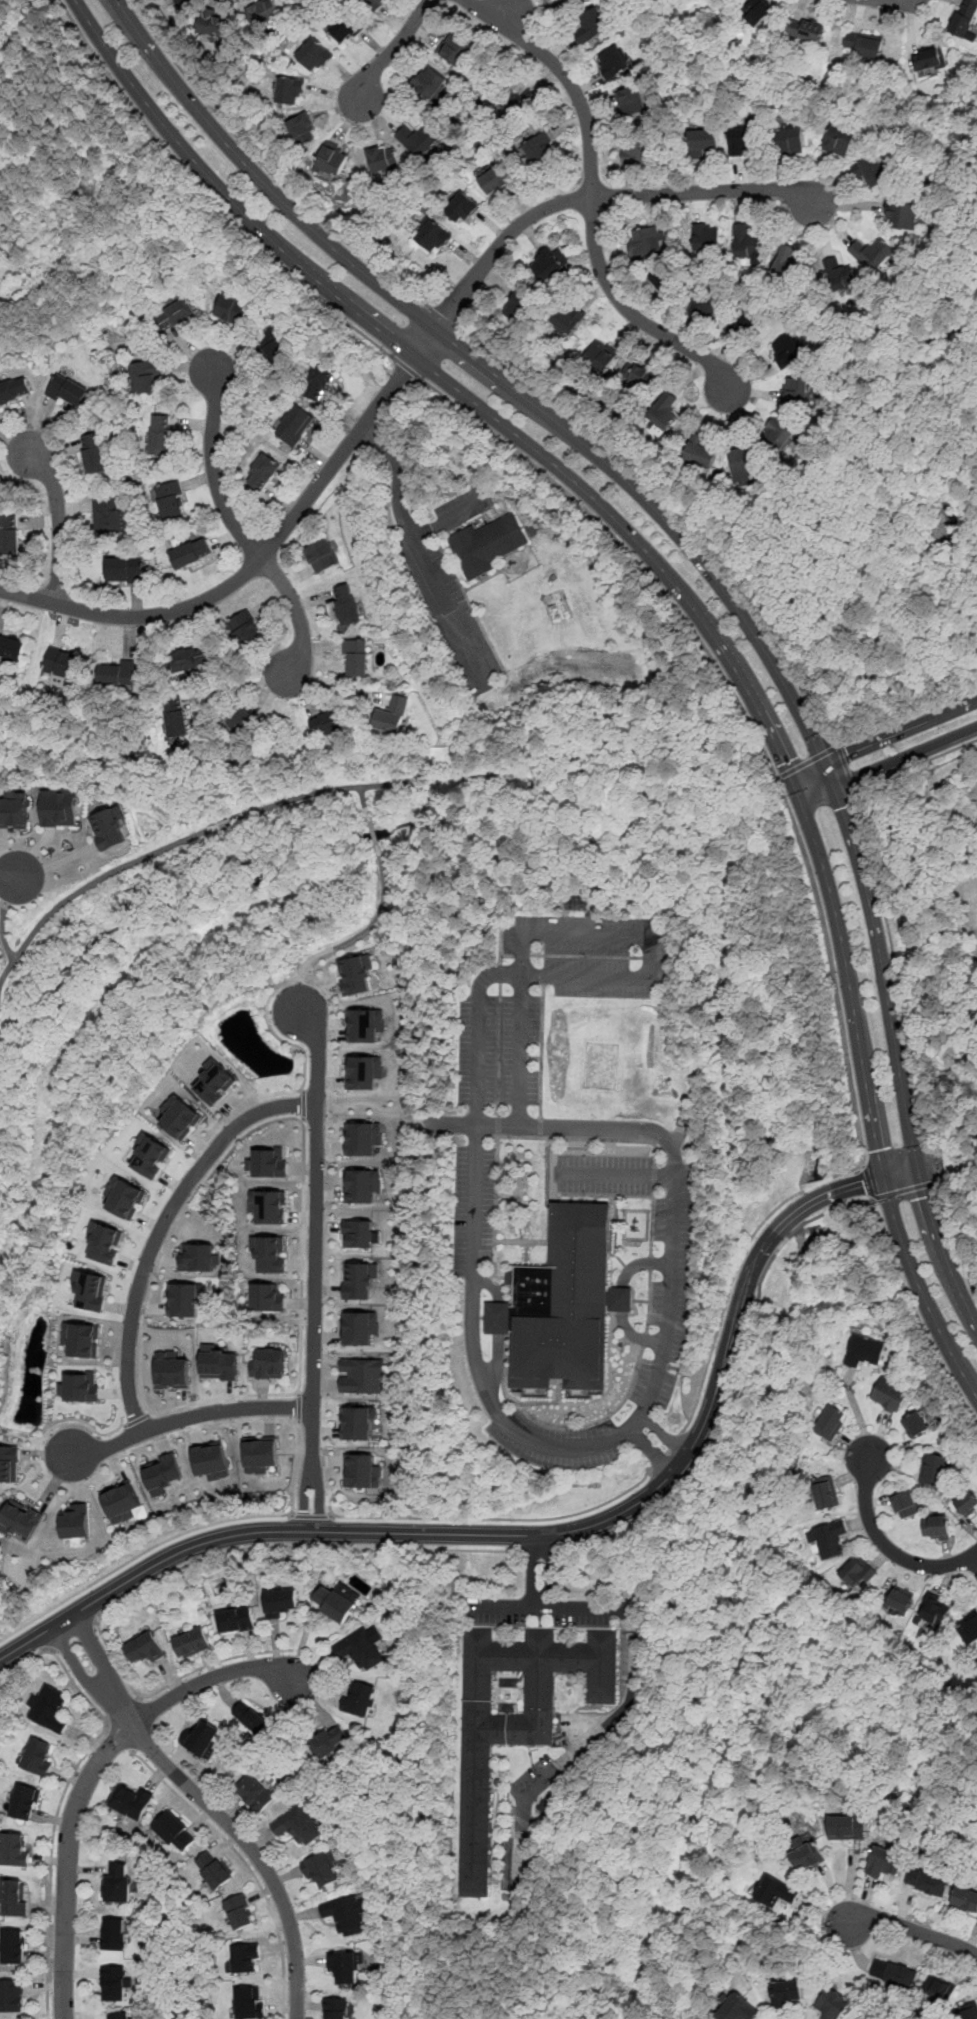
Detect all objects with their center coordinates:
building: (566, 0)
building: (184, 2)
building: (372, 4)
building: (757, 10)
building: (263, 13)
building: (964, 18)
building: (591, 25)
building: (219, 27)
building: (345, 27)
building: (805, 31)
building: (864, 46)
building: (455, 49)
road: (390, 51)
building: (313, 55)
building: (926, 60)
building: (613, 61)
building: (429, 82)
building: (290, 91)
building: (631, 100)
building: (516, 102)
building: (301, 129)
building: (417, 139)
building: (743, 139)
building: (704, 140)
building: (790, 140)
building: (838, 140)
building: (539, 150)
building: (636, 153)
building: (382, 157)
building: (331, 159)
road: (263, 165)
building: (869, 168)
building: (495, 181)
road: (208, 195)
road: (594, 197)
road: (593, 200)
building: (462, 207)
building: (901, 214)
building: (706, 236)
building: (431, 237)
building: (646, 240)
building: (746, 243)
building: (871, 253)
building: (787, 263)
building: (550, 264)
building: (838, 273)
building: (665, 280)
building: (706, 303)
building: (232, 308)
building: (518, 308)
building: (176, 315)
road: (443, 317)
building: (747, 318)
building: (569, 319)
building: (272, 346)
building: (786, 350)
building: (600, 358)
road: (406, 367)
building: (145, 376)
building: (641, 376)
building: (320, 377)
building: (13, 390)
building: (794, 390)
building: (67, 391)
building: (679, 407)
building: (663, 412)
building: (294, 424)
building: (160, 433)
building: (781, 437)
building: (93, 453)
building: (700, 453)
building: (743, 463)
building: (264, 471)
road: (399, 474)
building: (171, 500)
road: (676, 513)
building: (107, 515)
road: (59, 522)
road: (238, 532)
building: (9, 536)
building: (487, 544)
building: (191, 552)
building: (322, 554)
road: (258, 561)
road: (704, 564)
building: (124, 568)
road: (429, 572)
park: (911, 591)
road: (685, 594)
building: (346, 604)
building: (243, 628)
building: (12, 648)
building: (355, 656)
building: (191, 657)
building: (61, 663)
building: (117, 674)
road: (239, 687)
road: (744, 712)
building: (391, 714)
building: (175, 717)
building: (238, 722)
building: (327, 722)
road: (885, 738)
traffic signals: (849, 754)
traffic signals: (787, 761)
road: (808, 762)
road: (889, 762)
road: (848, 771)
road: (365, 803)
building: (58, 806)
traffic signals: (842, 807)
building: (14, 810)
building: (107, 827)
road: (374, 832)
road: (183, 840)
road: (12, 874)
building: (577, 903)
road: (884, 905)
road: (2, 906)
road: (365, 929)
road: (1, 932)
park: (793, 963)
building: (357, 974)
road: (298, 991)
road: (478, 1001)
building: (366, 1024)
road: (276, 1034)
building: (365, 1071)
building: (216, 1081)
road: (303, 1089)
road: (367, 1102)
road: (304, 1104)
building: (181, 1116)
road: (315, 1116)
road: (303, 1119)
building: (364, 1137)
building: (151, 1155)
building: (267, 1162)
road: (931, 1166)
road: (613, 1177)
road: (206, 1181)
road: (869, 1183)
building: (362, 1184)
road: (674, 1190)
road: (904, 1190)
building: (126, 1197)
building: (268, 1205)
road: (163, 1227)
building: (358, 1233)
building: (105, 1241)
road: (954, 1242)
building: (269, 1253)
building: (198, 1257)
road: (314, 1262)
road: (640, 1262)
road: (735, 1269)
building: (359, 1279)
building: (91, 1289)
park: (841, 1290)
building: (267, 1297)
building: (186, 1298)
road: (622, 1299)
building: (562, 1304)
road: (917, 1313)
building: (360, 1327)
road: (499, 1328)
road: (636, 1334)
building: (82, 1339)
building: (864, 1349)
building: (269, 1363)
road: (659, 1363)
building: (220, 1364)
building: (173, 1372)
building: (362, 1375)
road: (731, 1382)
building: (80, 1386)
road: (681, 1388)
building: (890, 1394)
road: (298, 1408)
road: (181, 1418)
road: (138, 1419)
building: (358, 1421)
building: (830, 1421)
building: (915, 1423)
road: (89, 1426)
road: (666, 1451)
building: (260, 1454)
building: (211, 1460)
building: (9, 1463)
road: (296, 1468)
building: (933, 1468)
building: (362, 1470)
building: (162, 1473)
building: (825, 1493)
building: (121, 1502)
building: (905, 1503)
building: (966, 1503)
road: (310, 1515)
road: (495, 1518)
building: (21, 1520)
building: (76, 1520)
building: (936, 1527)
road: (540, 1535)
building: (830, 1538)
road: (884, 1545)
road: (540, 1550)
road: (138, 1556)
road: (974, 1559)
road: (531, 1570)
road: (549, 1570)
building: (857, 1570)
road: (174, 1572)
building: (899, 1598)
building: (336, 1600)
building: (281, 1602)
road: (544, 1607)
building: (934, 1608)
building: (236, 1619)
building: (969, 1630)
road: (73, 1634)
building: (191, 1642)
building: (145, 1647)
building: (362, 1648)
building: (976, 1658)
road: (24, 1660)
building: (976, 1661)
road: (78, 1688)
building: (360, 1698)
building: (48, 1708)
road: (123, 1709)
building: (251, 1718)
building: (514, 1719)
building: (202, 1737)
road: (593, 1737)
road: (119, 1739)
building: (329, 1741)
building: (38, 1755)
road: (90, 1776)
building: (254, 1792)
building: (131, 1801)
building: (26, 1802)
road: (209, 1808)
building: (298, 1825)
building: (847, 1827)
building: (176, 1831)
building: (15, 1847)
building: (808, 1856)
building: (884, 1862)
road: (246, 1864)
road: (51, 1865)
building: (323, 1870)
building: (213, 1871)
building: (927, 1881)
building: (117, 1883)
building: (777, 1891)
building: (15, 1897)
building: (965, 1898)
building: (239, 1913)
building: (345, 1915)
road: (911, 1928)
building: (113, 1933)
building: (13, 1946)
building: (245, 1959)
building: (345, 1966)
building: (895, 1972)
building: (114, 1983)
building: (939, 1989)
building: (786, 1993)
building: (12, 1995)
building: (249, 2003)
building: (834, 2005)
building: (338, 2008)
building: (739, 2008)
building: (968, 2011)
building: (118, 2015)

